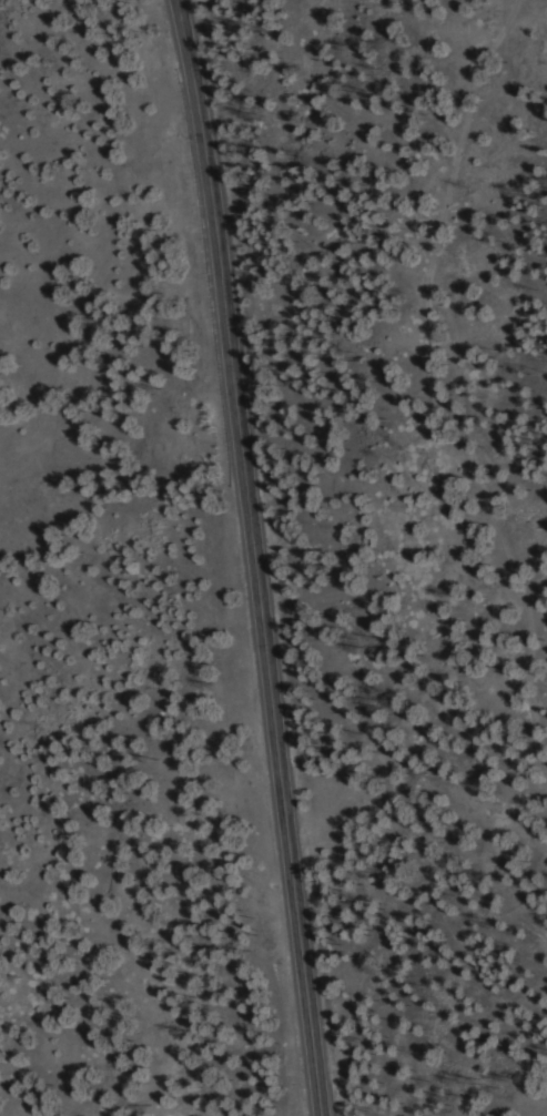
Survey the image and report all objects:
road: (253, 557)

